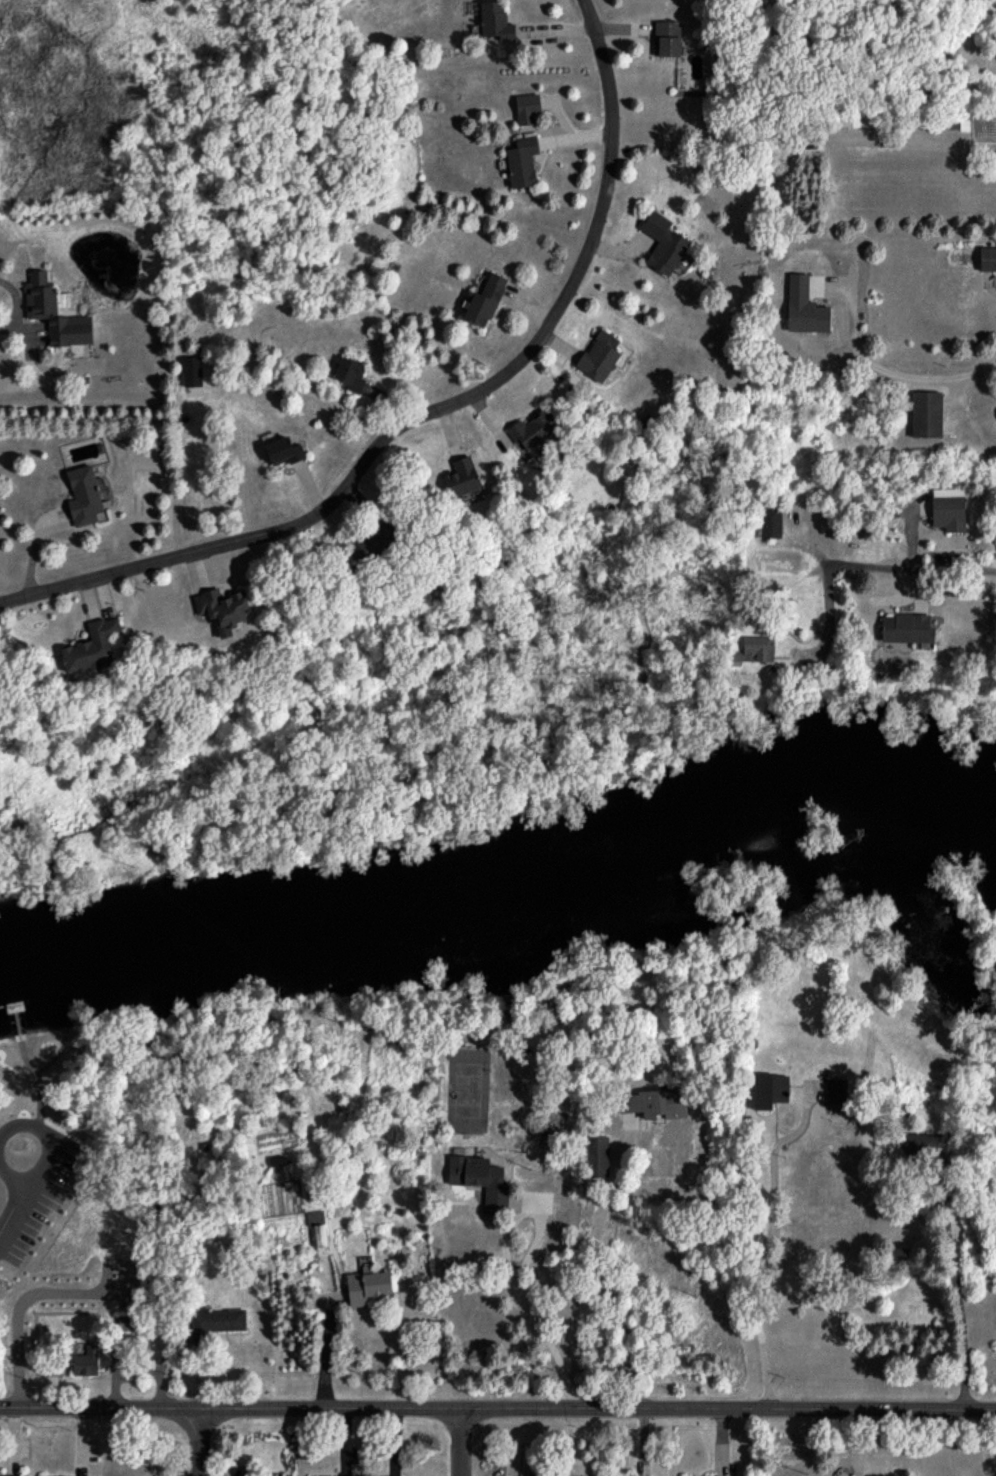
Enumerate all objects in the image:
building: (496, 21)
building: (667, 38)
building: (527, 108)
road: (919, 142)
building: (522, 161)
building: (663, 243)
building: (987, 258)
building: (485, 300)
road: (12, 307)
building: (55, 313)
building: (600, 355)
building: (192, 371)
road: (897, 373)
building: (350, 374)
road: (431, 409)
building: (926, 414)
building: (533, 430)
building: (284, 450)
building: (462, 477)
building: (85, 496)
building: (948, 509)
building: (770, 520)
building: (378, 537)
road: (907, 576)
building: (223, 609)
road: (827, 627)
building: (905, 627)
building: (92, 646)
building: (755, 650)
river: (510, 880)
road: (16, 1061)
building: (837, 1089)
building: (769, 1090)
building: (654, 1103)
park: (81, 1133)
road: (14, 1135)
building: (930, 1145)
building: (597, 1156)
parking lot: (35, 1166)
building: (480, 1180)
building: (318, 1226)
road: (766, 1244)
road: (598, 1267)
building: (367, 1286)
road: (958, 1295)
road: (525, 1301)
road: (21, 1302)
building: (127, 1322)
building: (215, 1322)
road: (327, 1347)
building: (87, 1361)
road: (497, 1410)
road: (459, 1443)
road: (200, 1444)
building: (10, 1475)
building: (255, 1475)

